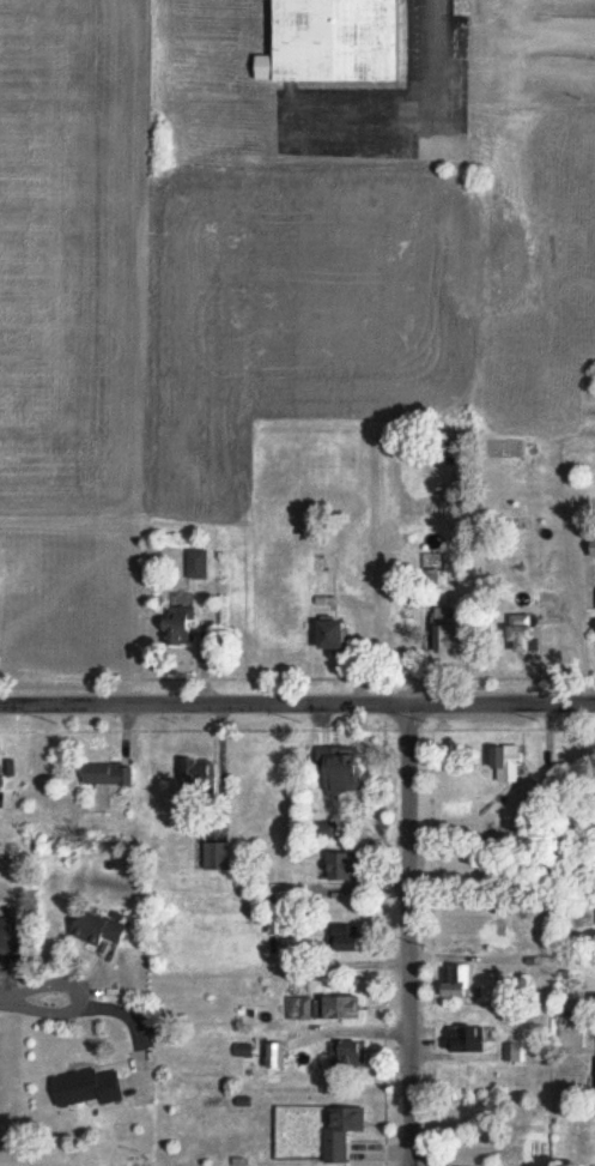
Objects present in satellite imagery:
building: (340, 41)
crop: (192, 289)
building: (198, 563)
building: (182, 623)
building: (454, 633)
building: (528, 634)
building: (336, 635)
road: (297, 703)
building: (515, 769)
building: (345, 771)
building: (110, 774)
building: (1, 779)
building: (199, 783)
building: (219, 856)
building: (345, 866)
building: (101, 930)
building: (6, 932)
road: (406, 935)
building: (351, 940)
building: (459, 980)
road: (77, 995)
road: (6, 999)
building: (300, 1008)
building: (339, 1009)
building: (572, 1035)
building: (468, 1040)
building: (348, 1053)
building: (277, 1057)
building: (90, 1087)
building: (342, 1132)

